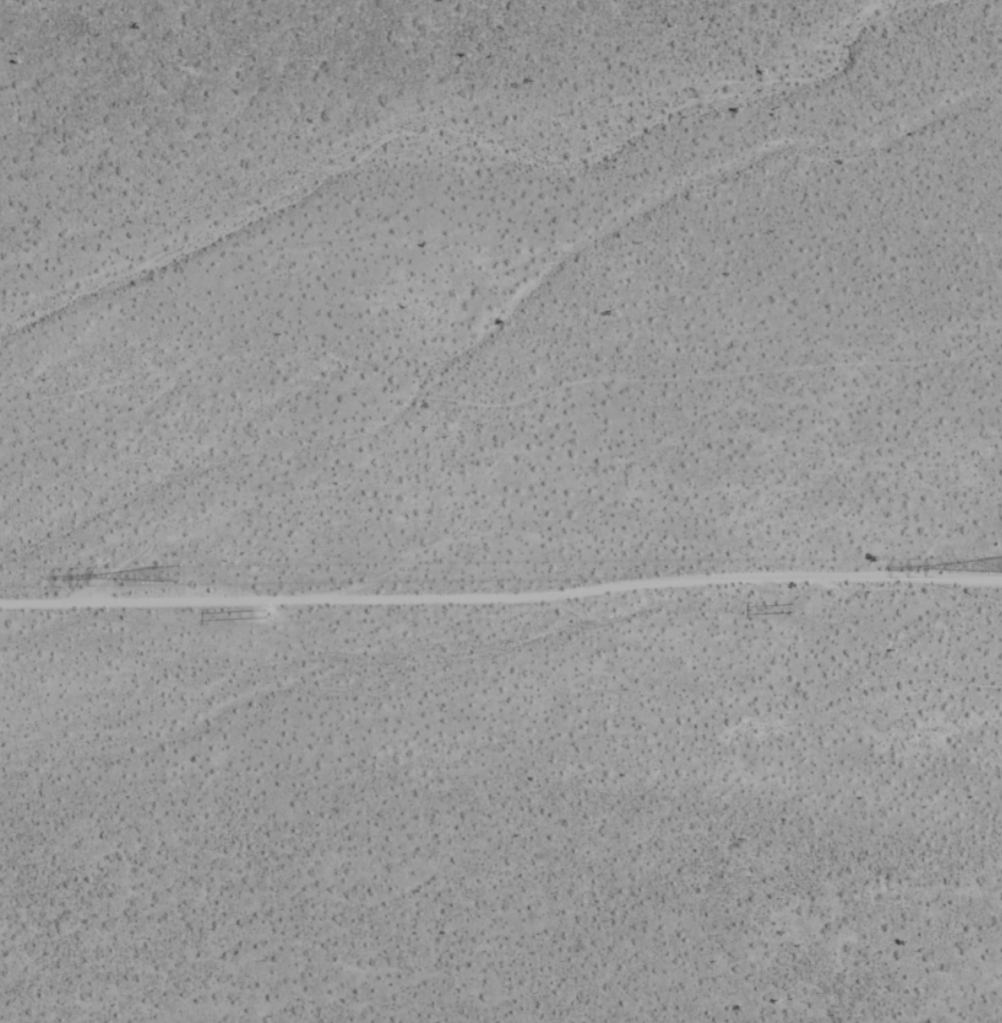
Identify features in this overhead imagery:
power tower: (184, 579)
power tower: (795, 605)
power tower: (258, 616)

